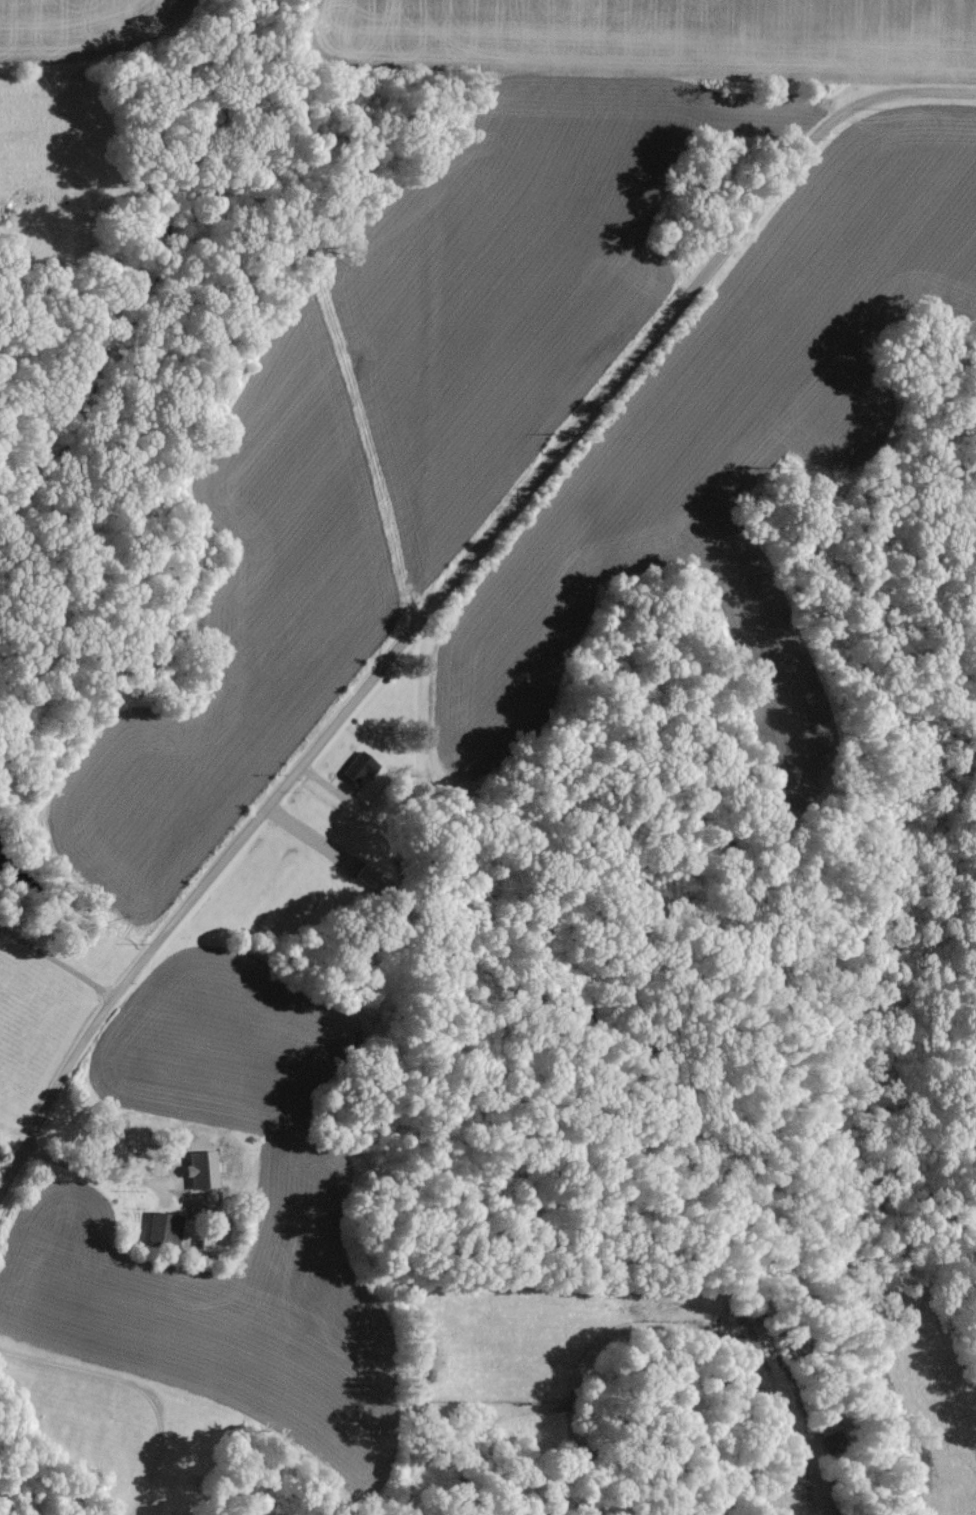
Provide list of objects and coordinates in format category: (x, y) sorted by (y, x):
road: (454, 581)
building: (361, 765)
road: (309, 836)
building: (371, 877)
road: (56, 960)
building: (166, 1229)
road: (137, 1387)

